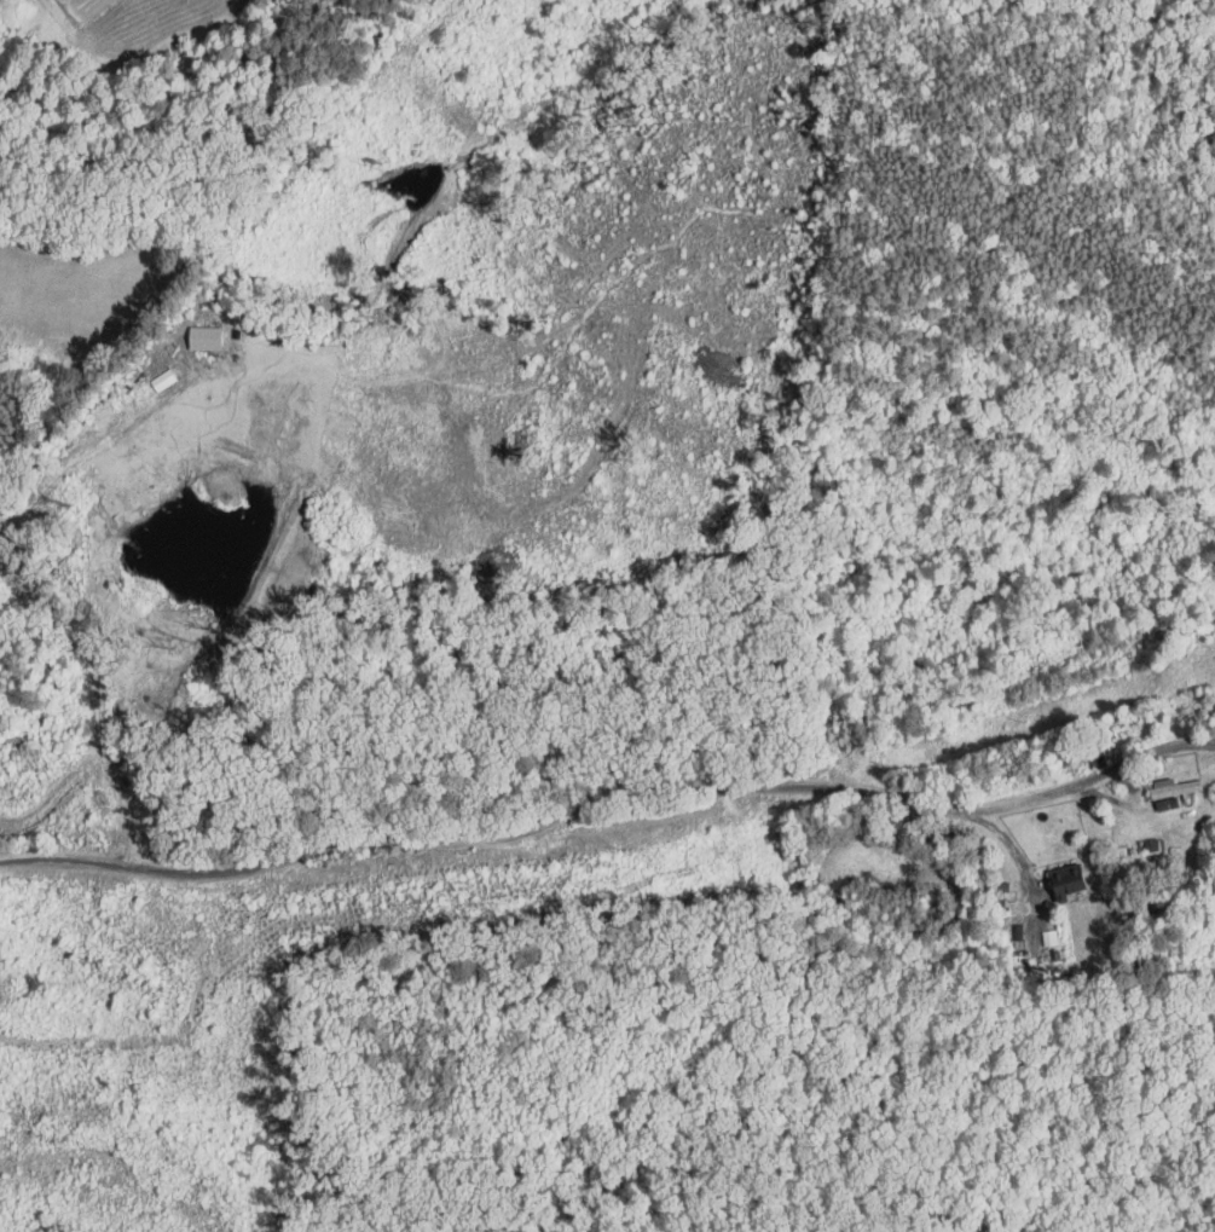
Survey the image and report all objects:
building: (187, 330)
building: (146, 372)
building: (1158, 780)
road: (603, 785)
building: (1135, 839)
road: (1018, 861)
building: (1051, 874)

